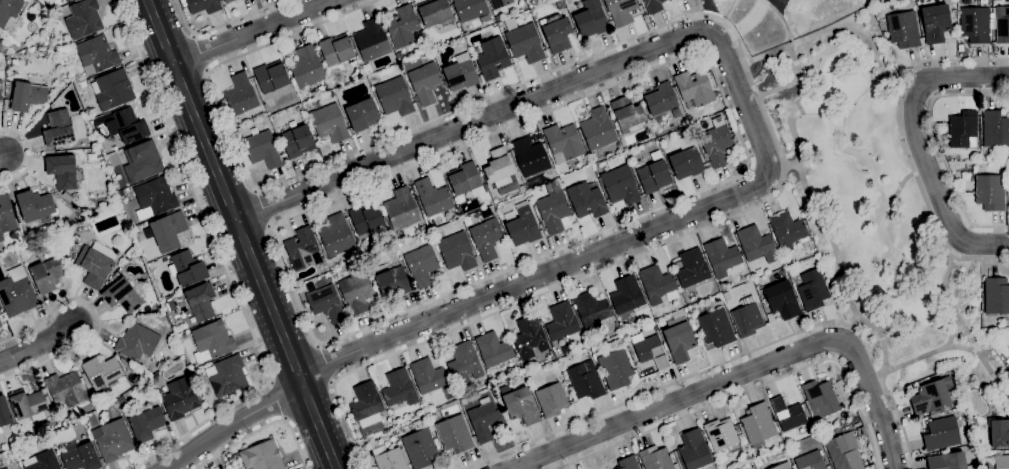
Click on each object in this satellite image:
building: (65, 0)
building: (68, 0)
park: (784, 0)
building: (228, 1)
building: (500, 3)
building: (559, 4)
building: (203, 5)
building: (653, 5)
building: (470, 9)
road: (727, 9)
building: (434, 11)
building: (621, 11)
building: (11, 14)
road: (700, 14)
building: (84, 18)
road: (781, 18)
building: (591, 19)
road: (749, 20)
building: (935, 22)
road: (221, 24)
building: (975, 24)
building: (402, 26)
building: (1003, 26)
building: (903, 28)
road: (250, 31)
road: (822, 31)
building: (556, 32)
road: (194, 35)
building: (372, 40)
building: (525, 43)
road: (716, 44)
road: (700, 49)
building: (336, 51)
road: (199, 53)
building: (399, 54)
building: (97, 55)
building: (492, 58)
building: (426, 59)
road: (824, 60)
building: (307, 66)
road: (207, 70)
building: (460, 74)
building: (271, 76)
building: (425, 82)
building: (82, 83)
building: (1, 85)
building: (694, 88)
building: (112, 89)
building: (241, 94)
building: (1, 95)
building: (28, 95)
road: (917, 95)
building: (394, 96)
road: (901, 96)
road: (934, 96)
building: (660, 98)
road: (744, 101)
building: (296, 108)
building: (363, 114)
building: (628, 114)
building: (328, 122)
building: (58, 125)
building: (130, 125)
building: (598, 129)
building: (963, 129)
building: (996, 131)
building: (297, 140)
building: (564, 141)
building: (716, 142)
road: (905, 142)
building: (93, 143)
road: (919, 144)
road: (939, 145)
building: (263, 149)
building: (628, 152)
road: (29, 153)
road: (2, 154)
building: (530, 156)
building: (687, 160)
building: (142, 161)
building: (1003, 163)
road: (768, 166)
road: (747, 167)
building: (62, 170)
road: (750, 170)
building: (501, 171)
building: (654, 176)
building: (466, 179)
building: (620, 184)
building: (1008, 188)
road: (256, 190)
building: (990, 191)
building: (67, 196)
building: (154, 197)
building: (433, 197)
building: (586, 200)
park: (873, 204)
building: (34, 205)
road: (261, 208)
building: (402, 208)
building: (553, 211)
building: (6, 215)
building: (366, 218)
building: (523, 223)
road: (270, 226)
building: (167, 230)
building: (787, 230)
road: (241, 234)
building: (336, 235)
building: (487, 237)
road: (963, 237)
building: (420, 239)
building: (757, 244)
road: (833, 246)
building: (75, 247)
building: (301, 248)
building: (457, 251)
road: (954, 252)
building: (722, 257)
building: (96, 263)
building: (421, 265)
road: (225, 266)
building: (187, 268)
building: (693, 268)
building: (48, 273)
building: (393, 281)
building: (658, 284)
building: (811, 289)
building: (16, 292)
building: (356, 292)
building: (627, 294)
building: (122, 295)
building: (996, 295)
building: (782, 299)
building: (198, 301)
building: (326, 303)
building: (708, 305)
building: (172, 307)
building: (591, 310)
building: (747, 317)
road: (98, 319)
building: (562, 321)
building: (0, 324)
building: (650, 325)
building: (716, 327)
building: (530, 337)
building: (679, 339)
building: (212, 340)
building: (137, 341)
road: (38, 343)
road: (318, 345)
building: (596, 346)
building: (494, 349)
building: (650, 350)
road: (936, 350)
building: (464, 363)
road: (323, 364)
building: (616, 365)
road: (984, 368)
building: (102, 373)
road: (740, 373)
road: (877, 374)
building: (227, 375)
building: (428, 375)
building: (586, 380)
road: (332, 382)
building: (201, 388)
building: (399, 388)
building: (66, 389)
road: (749, 389)
road: (655, 390)
building: (933, 396)
building: (180, 398)
building: (821, 398)
building: (551, 399)
building: (122, 400)
building: (29, 404)
building: (520, 404)
building: (367, 408)
building: (4, 412)
building: (431, 414)
building: (787, 414)
road: (900, 419)
building: (483, 421)
building: (147, 423)
road: (234, 423)
building: (758, 424)
road: (263, 429)
building: (999, 432)
building: (455, 433)
building: (941, 433)
building: (722, 435)
building: (113, 439)
building: (37, 441)
building: (420, 448)
building: (694, 449)
building: (843, 453)
building: (262, 456)
building: (81, 457)
building: (390, 458)
building: (657, 458)
building: (231, 459)
building: (42, 461)
building: (811, 461)
building: (948, 461)
building: (997, 462)
building: (628, 463)
building: (781, 465)
building: (6, 468)

